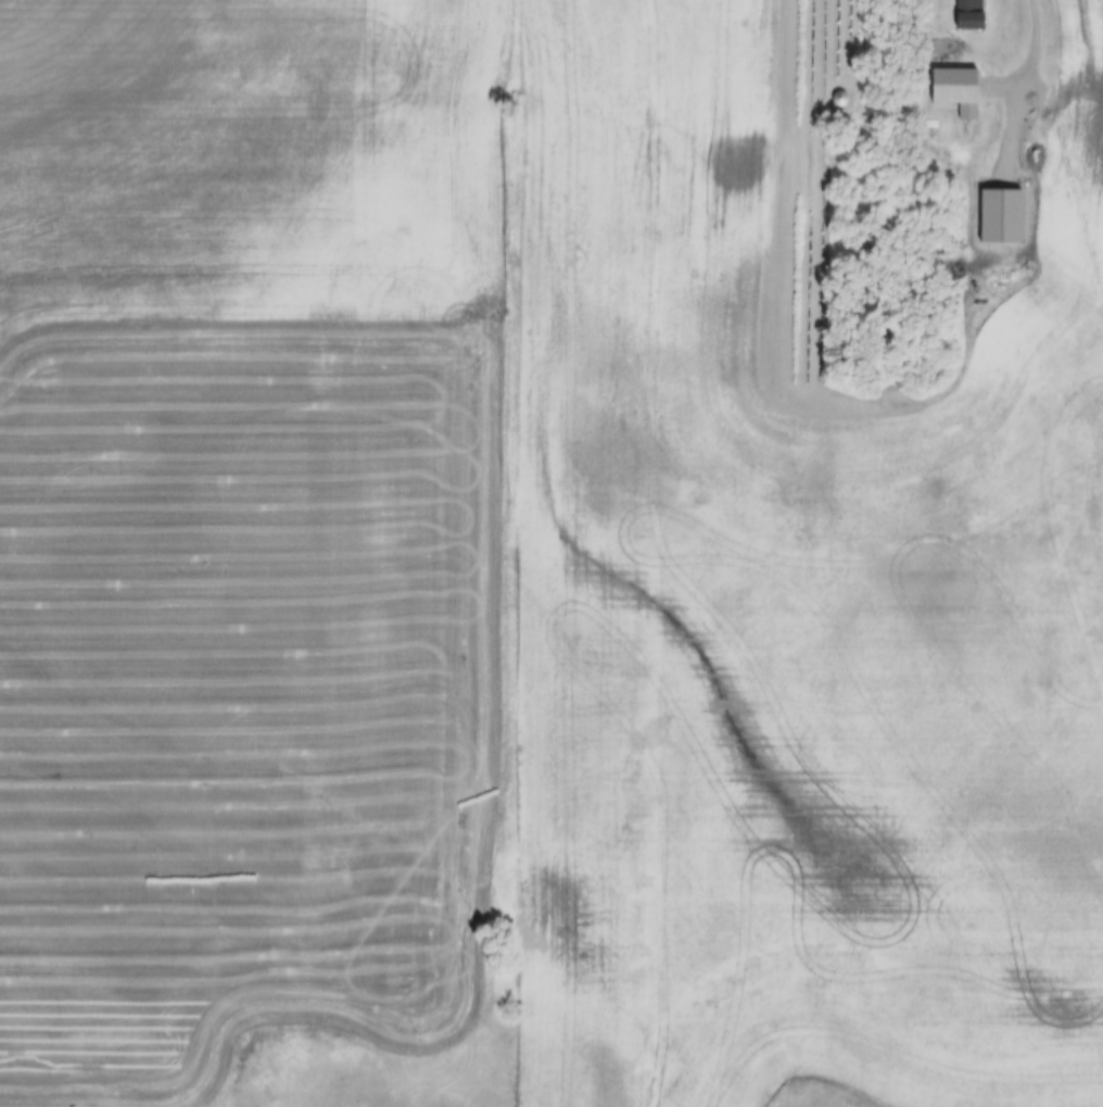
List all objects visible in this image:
building: (971, 15)
building: (959, 78)

